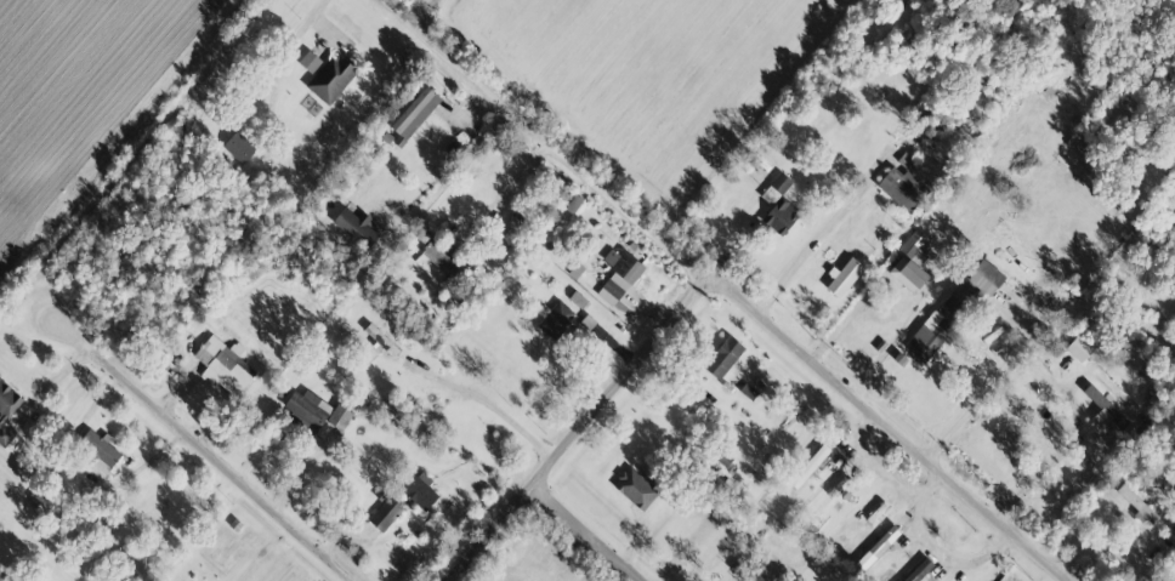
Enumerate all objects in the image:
road: (320, 25)
building: (308, 61)
building: (330, 78)
building: (414, 113)
building: (237, 149)
road: (516, 176)
building: (779, 182)
building: (901, 183)
building: (781, 215)
building: (357, 224)
road: (810, 247)
building: (910, 260)
building: (621, 263)
building: (844, 277)
road: (723, 291)
building: (955, 304)
building: (555, 319)
building: (380, 340)
building: (1078, 347)
building: (722, 357)
building: (222, 366)
road: (45, 385)
road: (984, 386)
building: (7, 399)
building: (1105, 406)
road: (498, 409)
building: (306, 410)
building: (339, 416)
road: (577, 431)
building: (4, 434)
road: (197, 446)
building: (97, 451)
road: (873, 462)
building: (635, 488)
building: (419, 489)
building: (385, 513)
road: (583, 534)
road: (933, 548)
building: (918, 570)
building: (742, 571)

